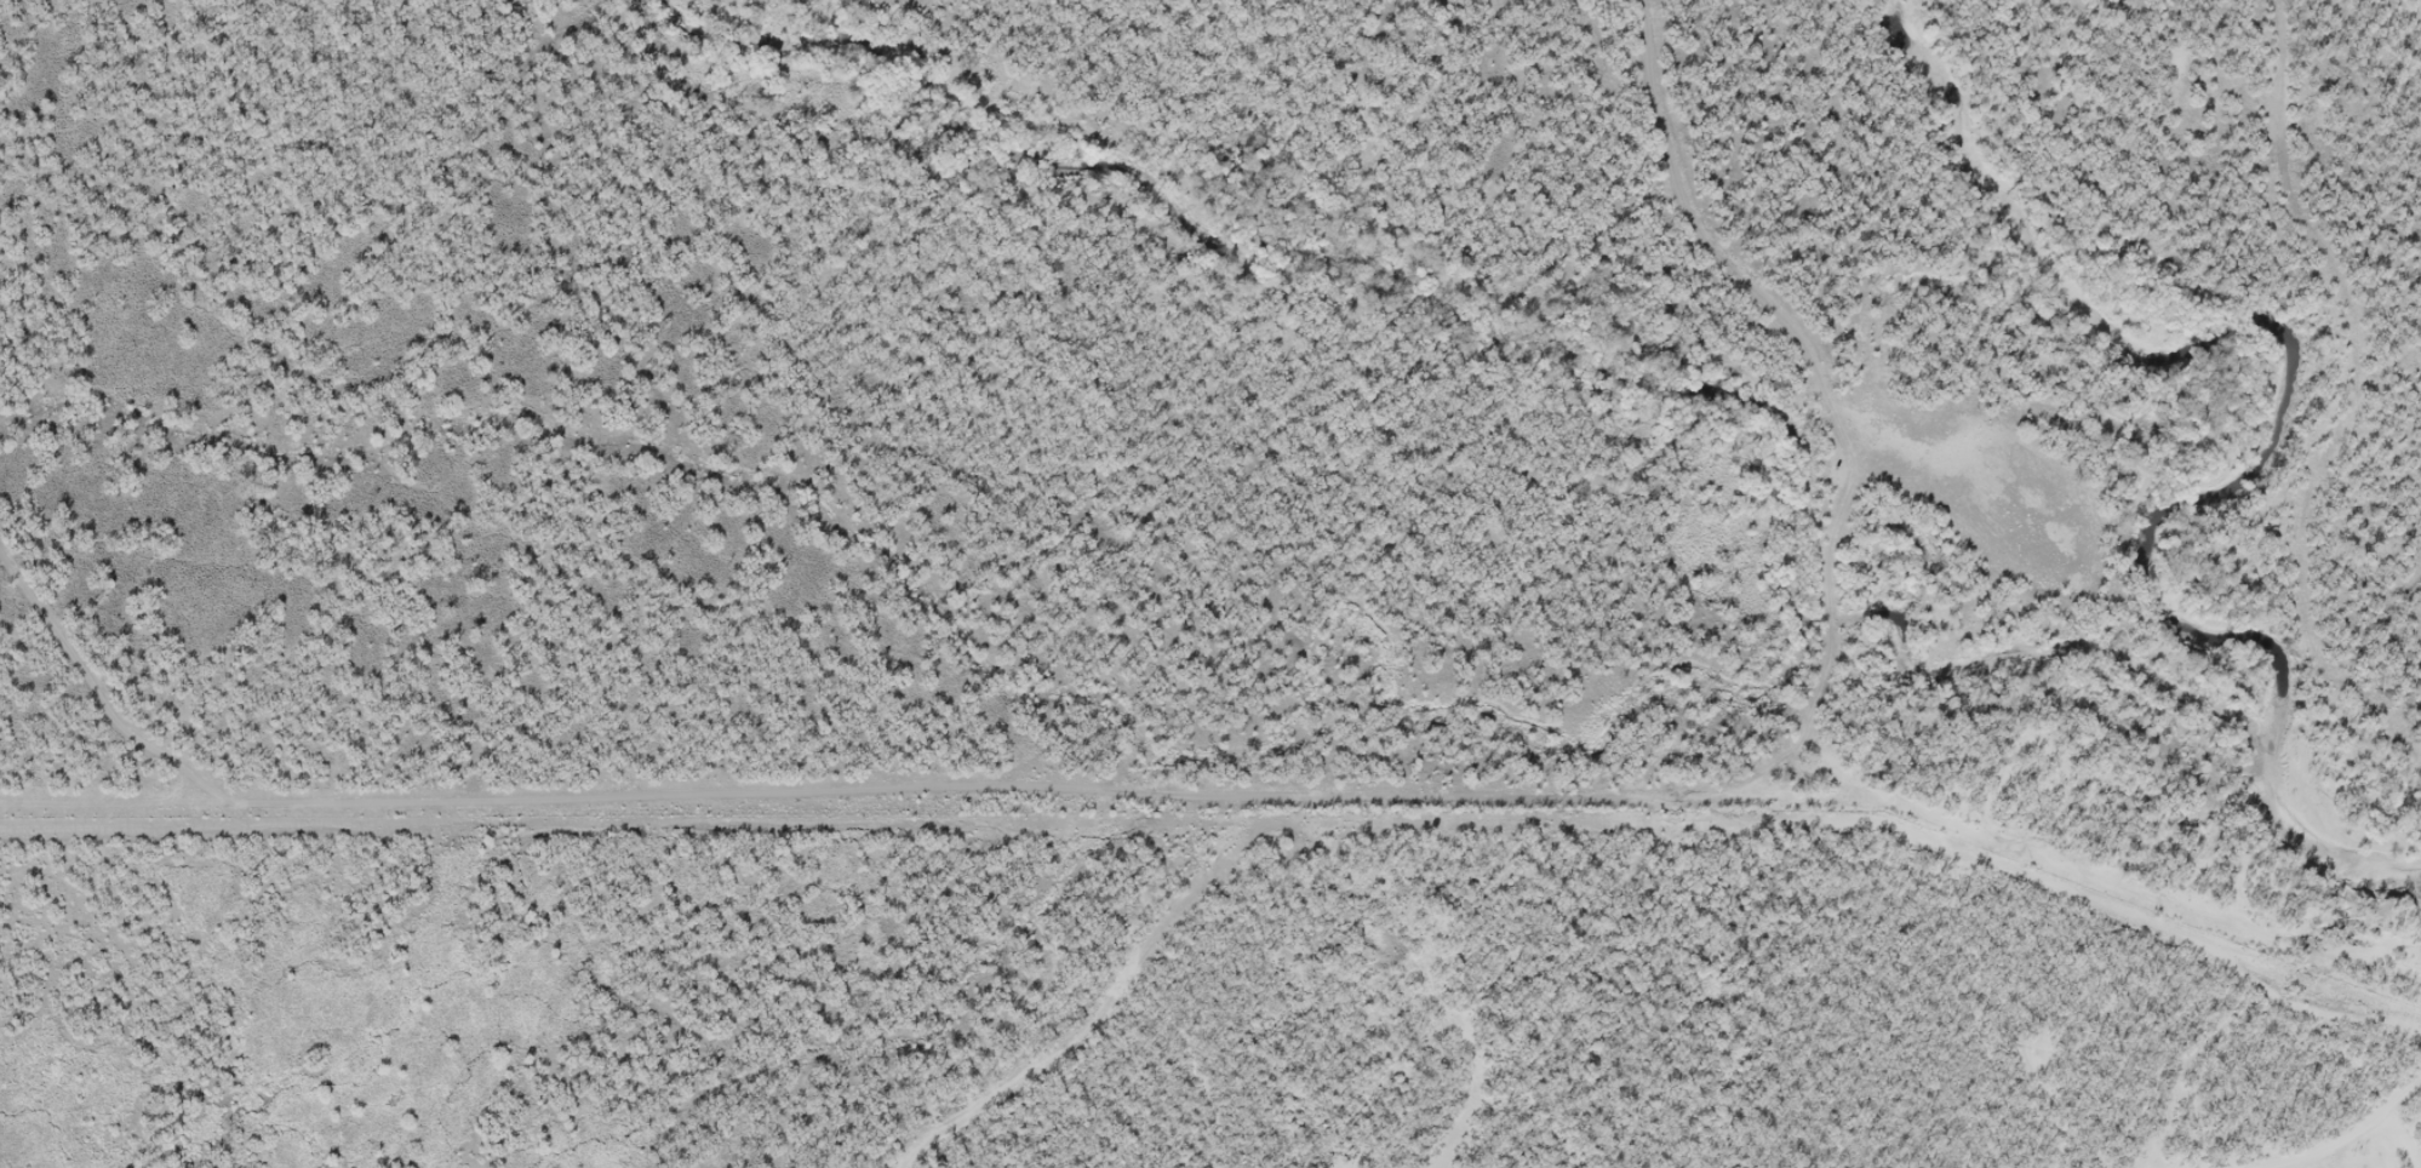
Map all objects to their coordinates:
river: (2276, 435)

